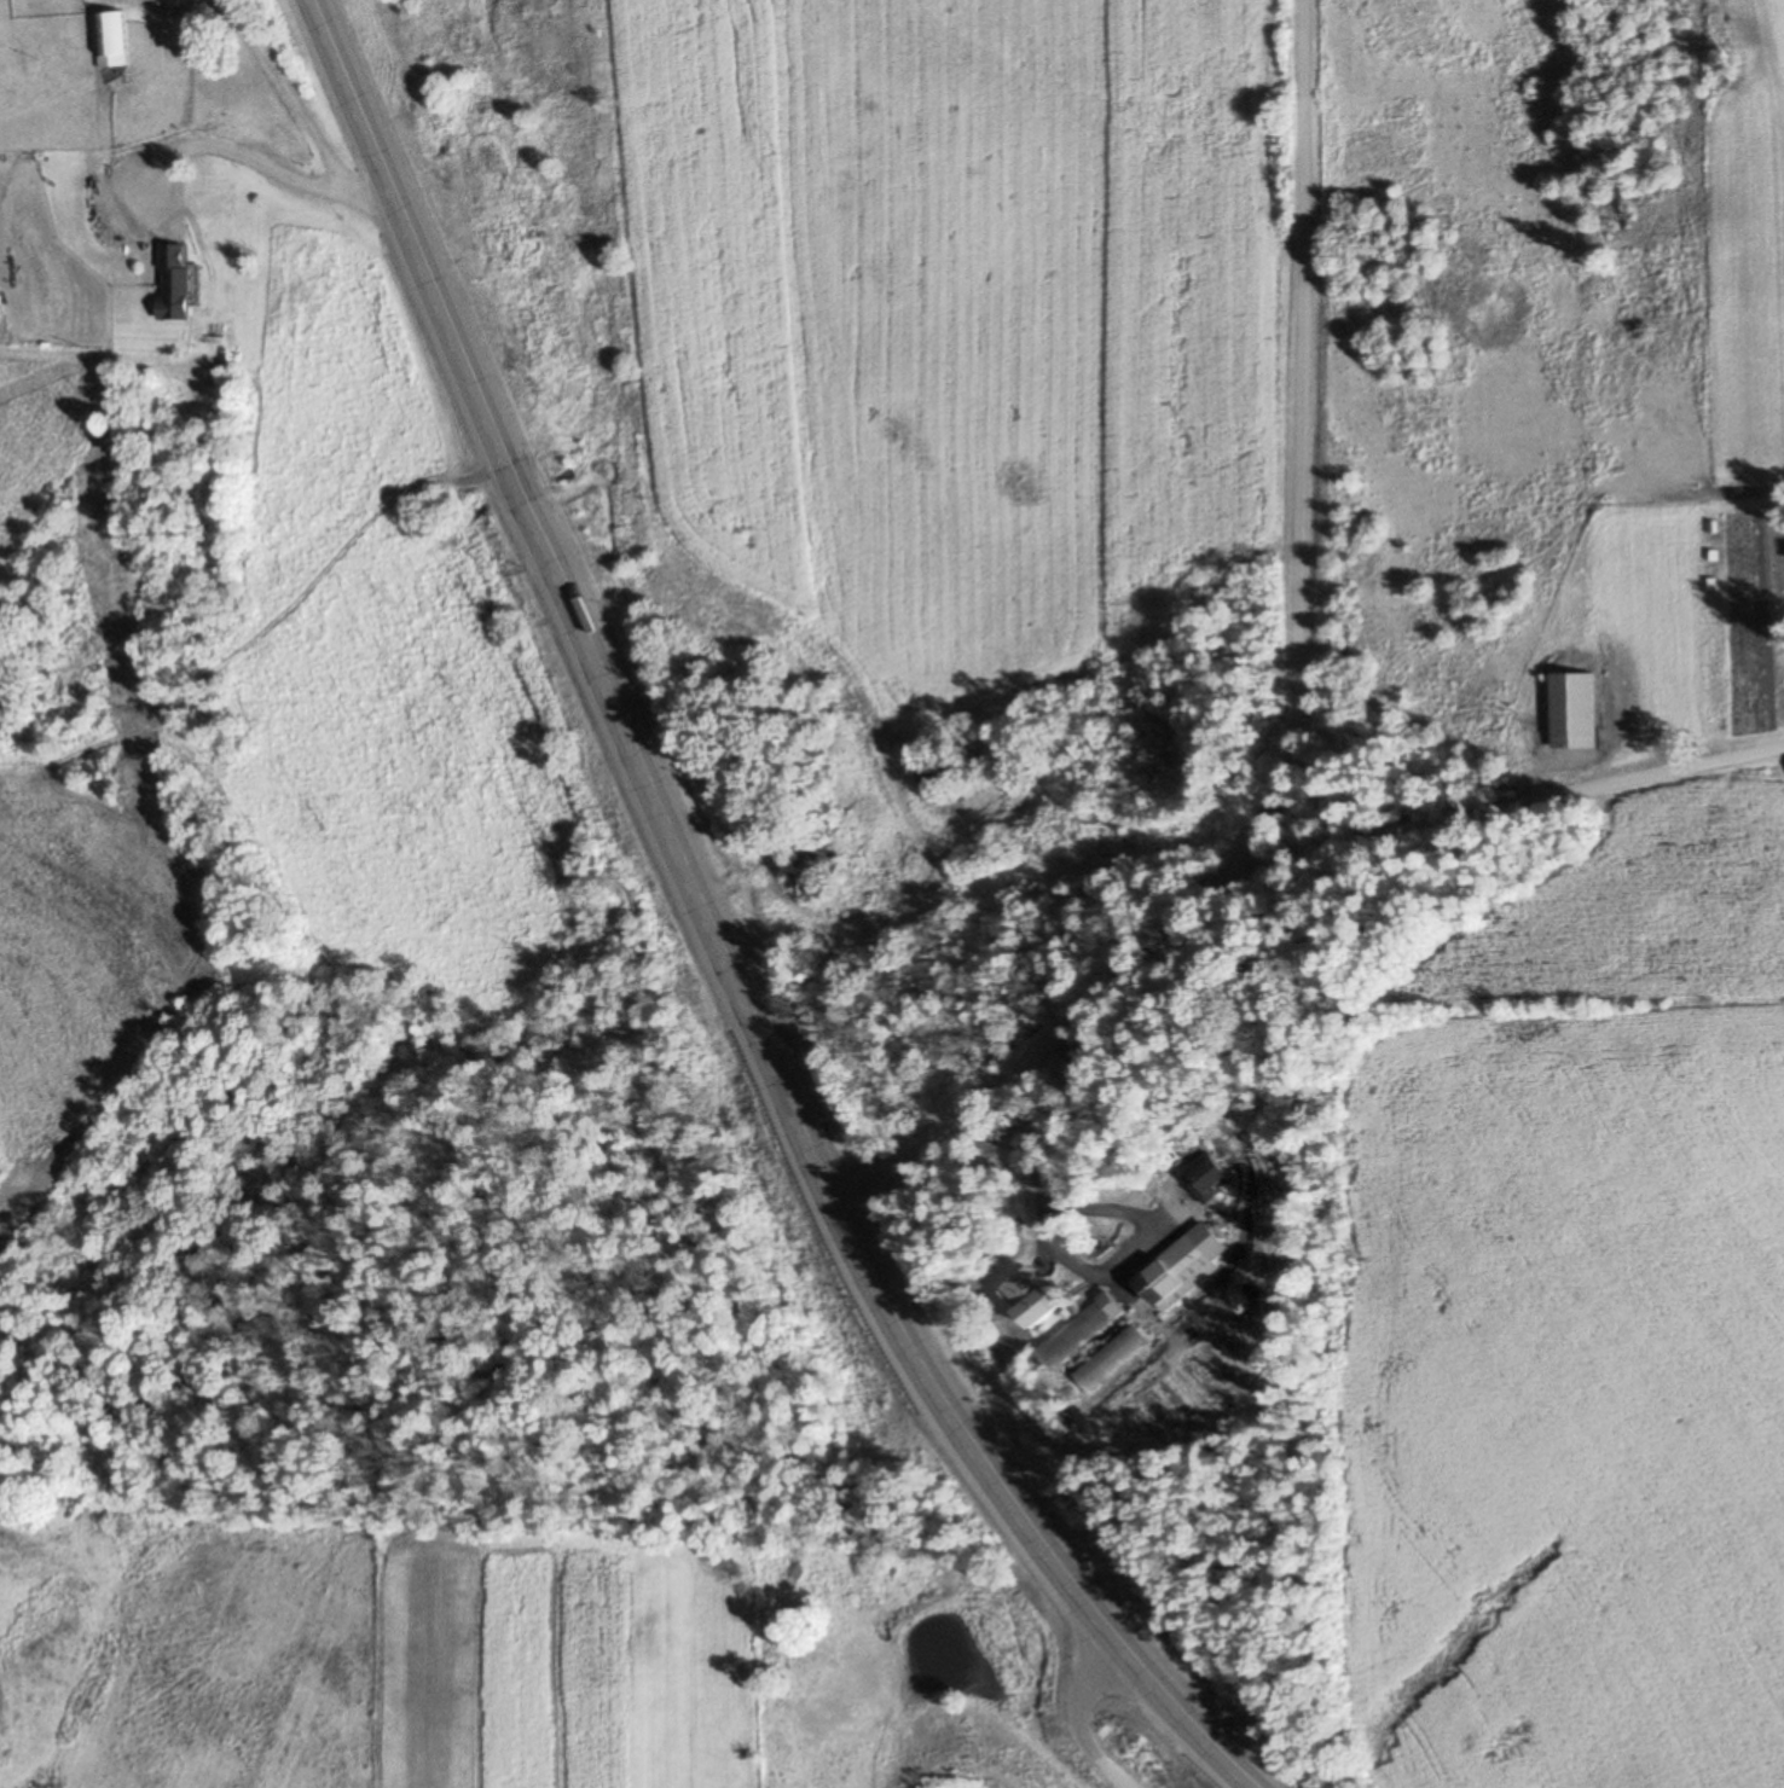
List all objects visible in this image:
building: (110, 40)
building: (173, 283)
road: (1296, 698)
building: (945, 772)
road: (1493, 806)
building: (806, 875)
road: (718, 935)
building: (1206, 1178)
building: (1171, 1272)
building: (1033, 1310)
building: (1081, 1333)
road: (1082, 1713)

